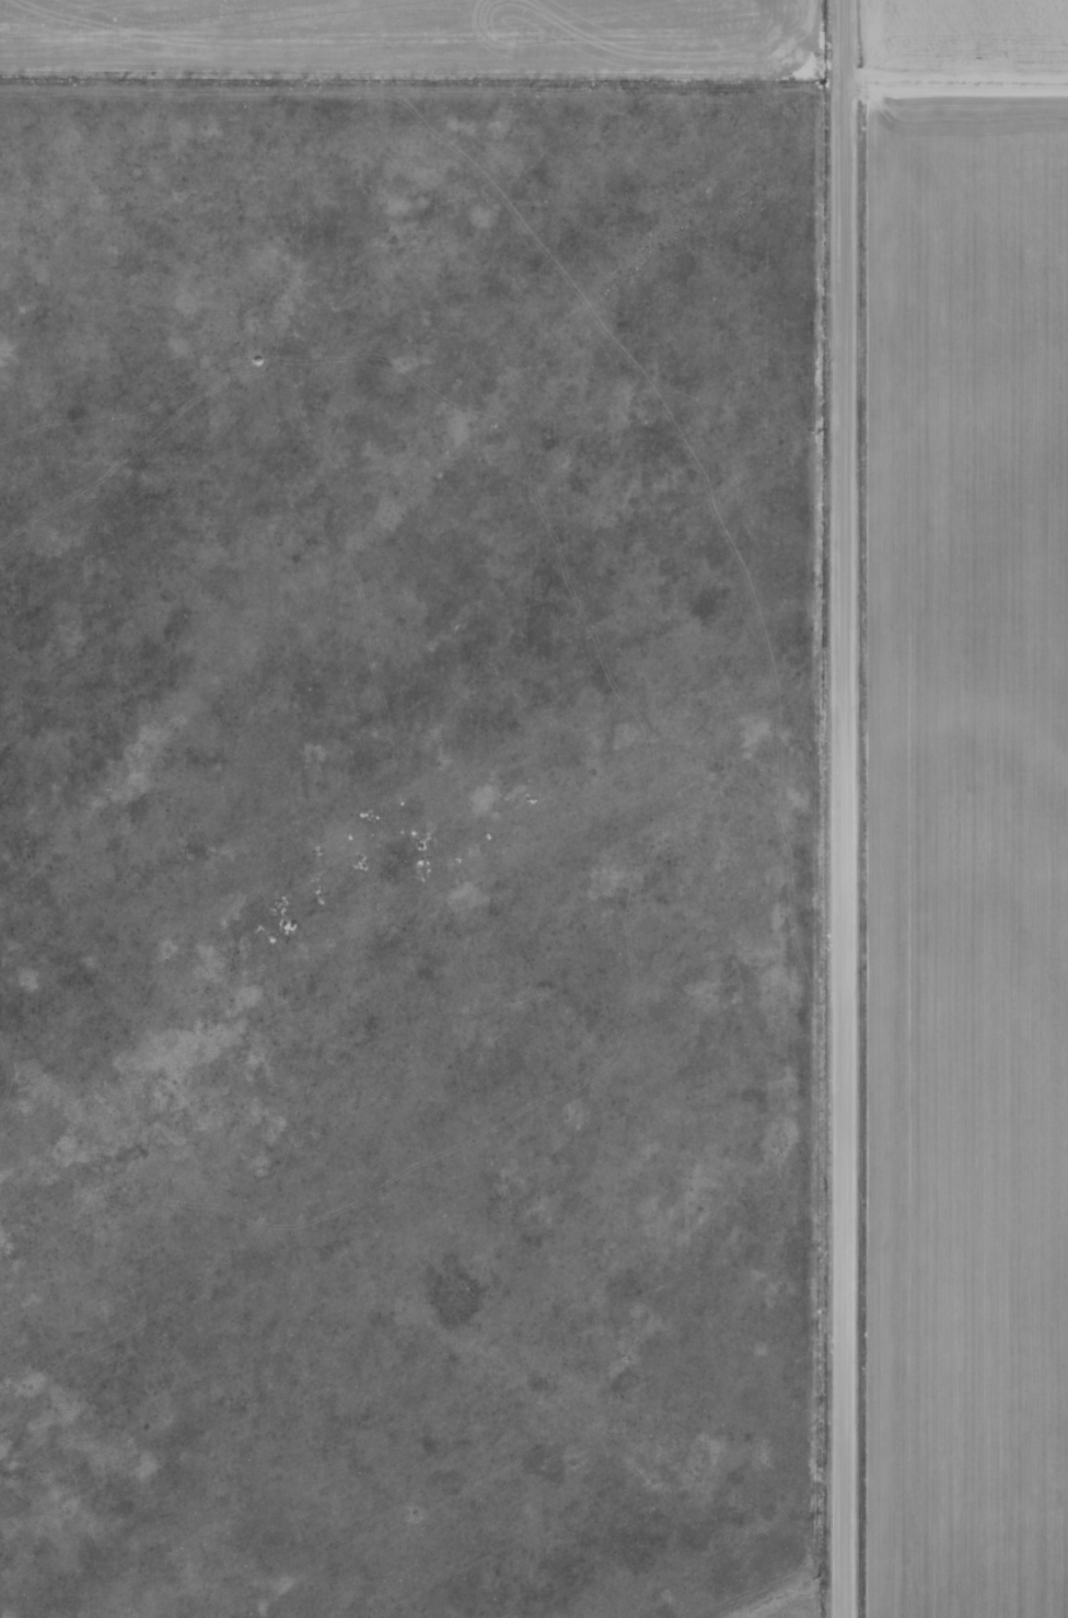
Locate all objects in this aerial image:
road: (959, 210)
road: (949, 586)
road: (849, 808)

